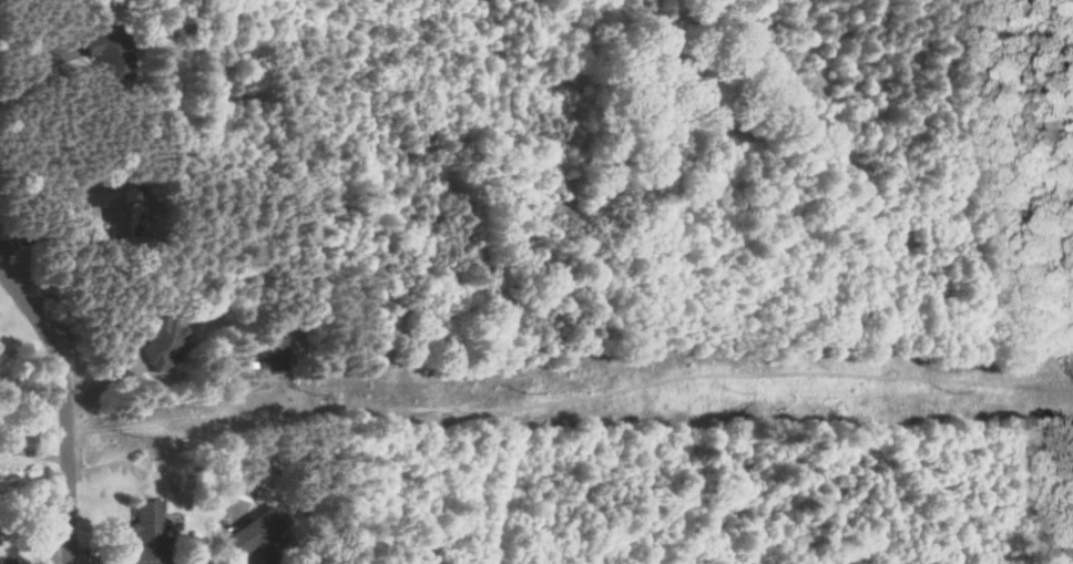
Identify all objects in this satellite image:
building: (101, 54)
road: (35, 69)
building: (106, 206)
building: (159, 340)
building: (270, 353)
road: (67, 406)
road: (34, 451)
building: (248, 532)
building: (143, 534)
building: (161, 563)

